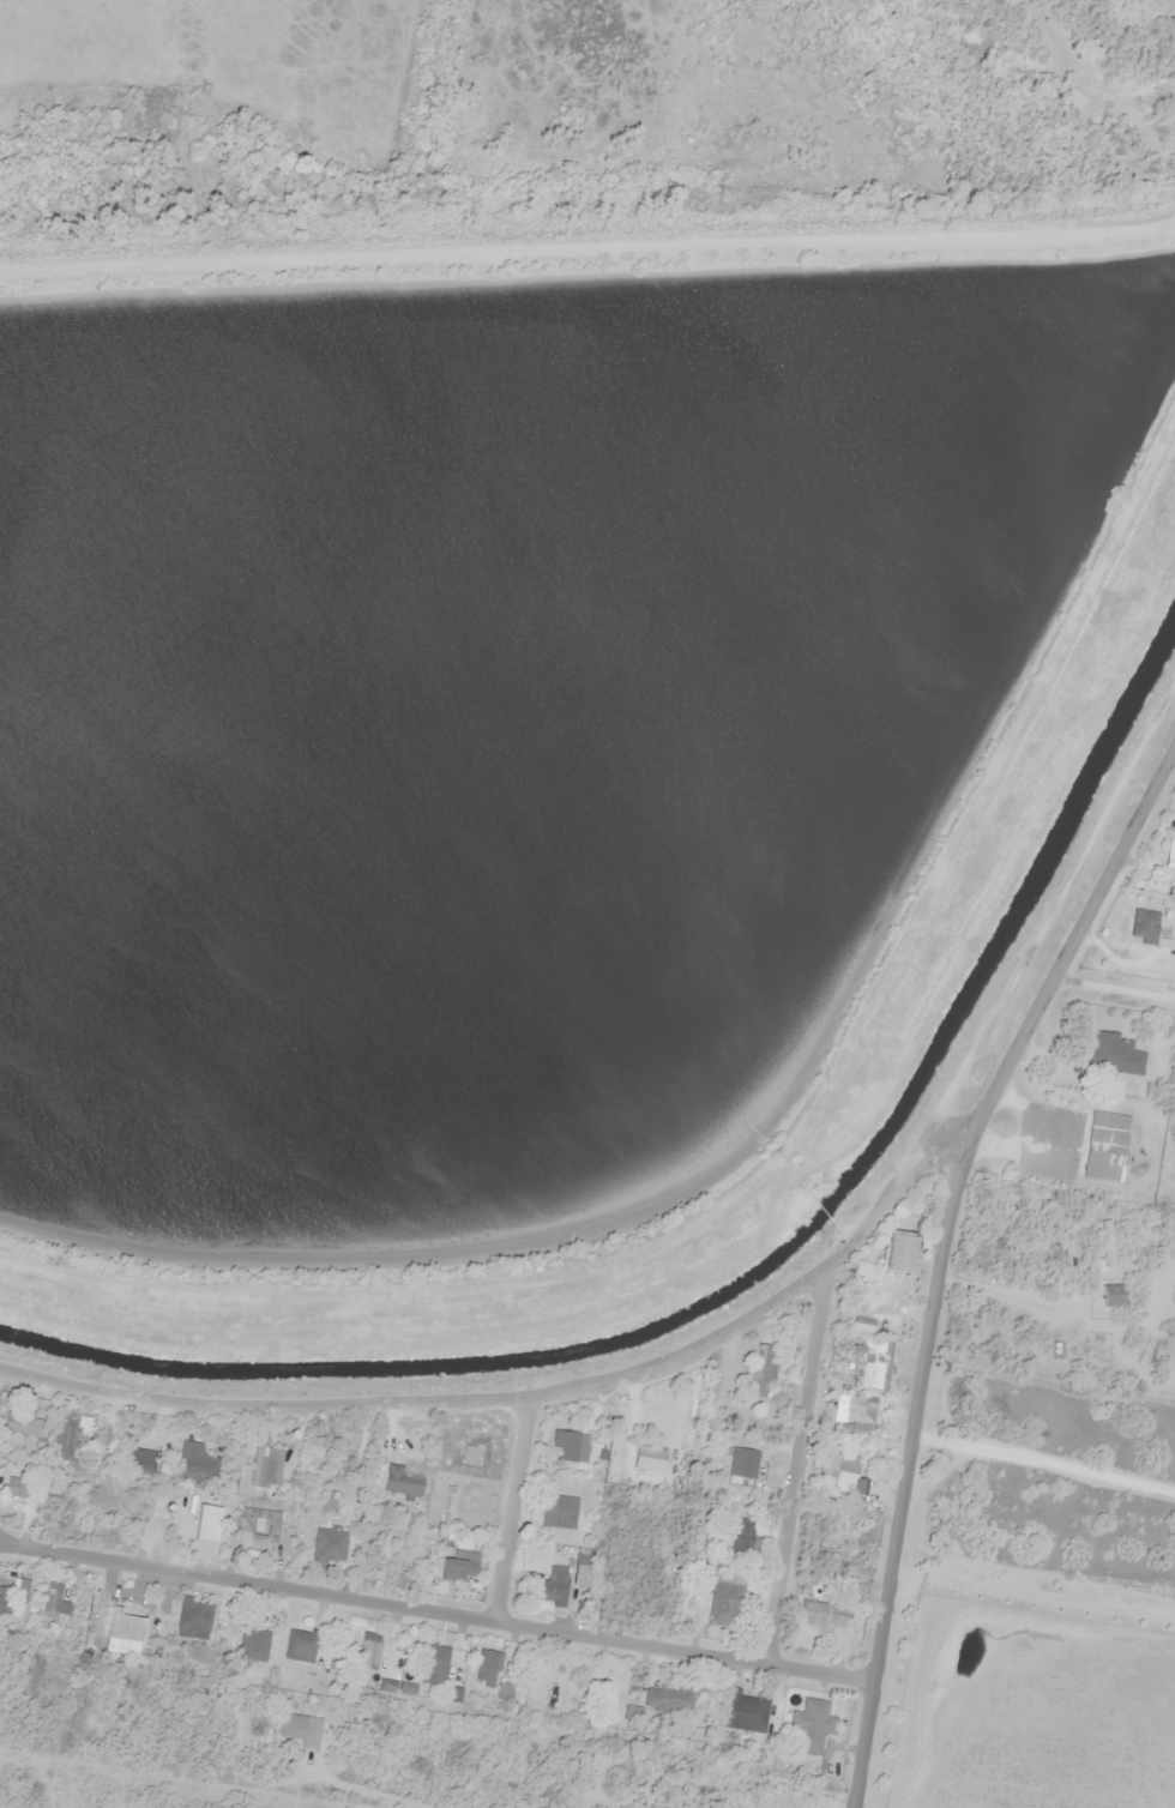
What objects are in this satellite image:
river: (1096, 70)
building: (1174, 854)
building: (1140, 927)
building: (1109, 1056)
road: (1077, 1135)
building: (1102, 1147)
road: (942, 1250)
building: (891, 1262)
building: (890, 1332)
building: (869, 1367)
building: (761, 1373)
road: (523, 1398)
building: (852, 1411)
building: (23, 1426)
building: (65, 1435)
building: (570, 1446)
building: (472, 1454)
building: (137, 1459)
building: (195, 1462)
building: (266, 1464)
road: (796, 1465)
building: (839, 1475)
building: (403, 1482)
building: (16, 1497)
building: (331, 1503)
building: (450, 1506)
road: (512, 1509)
building: (560, 1512)
building: (151, 1518)
building: (836, 1519)
building: (207, 1523)
building: (260, 1525)
building: (745, 1547)
building: (833, 1549)
building: (330, 1550)
building: (458, 1562)
building: (583, 1574)
building: (553, 1586)
building: (718, 1597)
building: (4, 1599)
building: (55, 1601)
road: (436, 1611)
building: (824, 1611)
building: (195, 1619)
building: (127, 1623)
building: (252, 1641)
building: (301, 1646)
building: (370, 1650)
building: (436, 1664)
building: (488, 1667)
building: (506, 1688)
building: (669, 1696)
building: (746, 1711)
building: (812, 1726)

